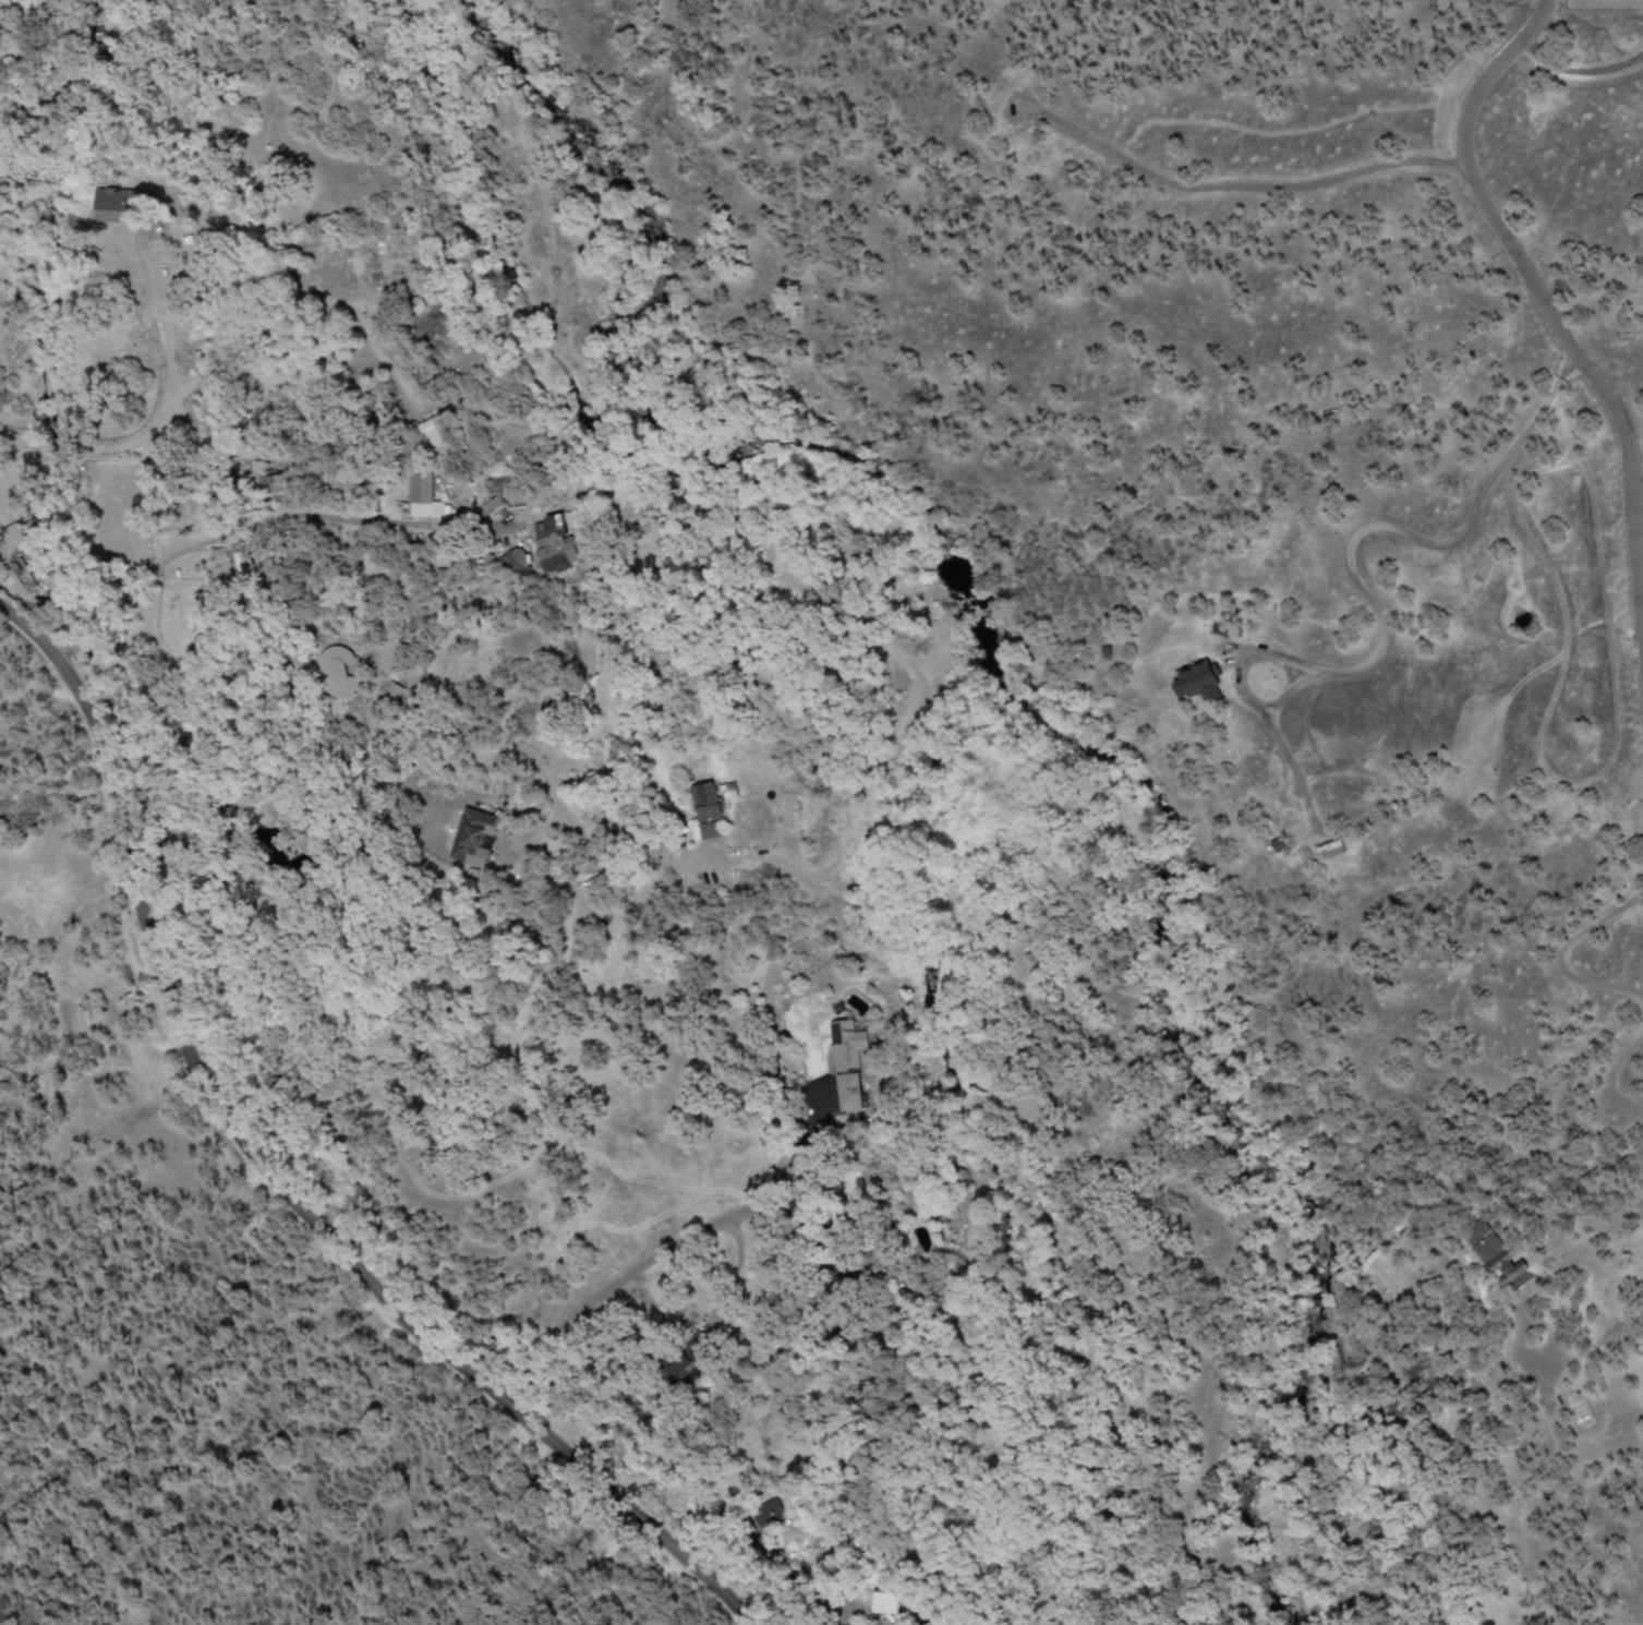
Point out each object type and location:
building: (15, 59)
road: (1539, 289)
building: (449, 347)
river: (660, 385)
building: (424, 496)
building: (555, 544)
building: (336, 673)
building: (1192, 685)
building: (392, 693)
building: (706, 803)
river: (1169, 895)
building: (846, 1068)
road: (499, 1164)
road: (271, 1179)
road: (692, 1195)
building: (1496, 1259)
road: (861, 1304)
river: (1293, 1396)
road: (760, 1408)
building: (893, 1618)

